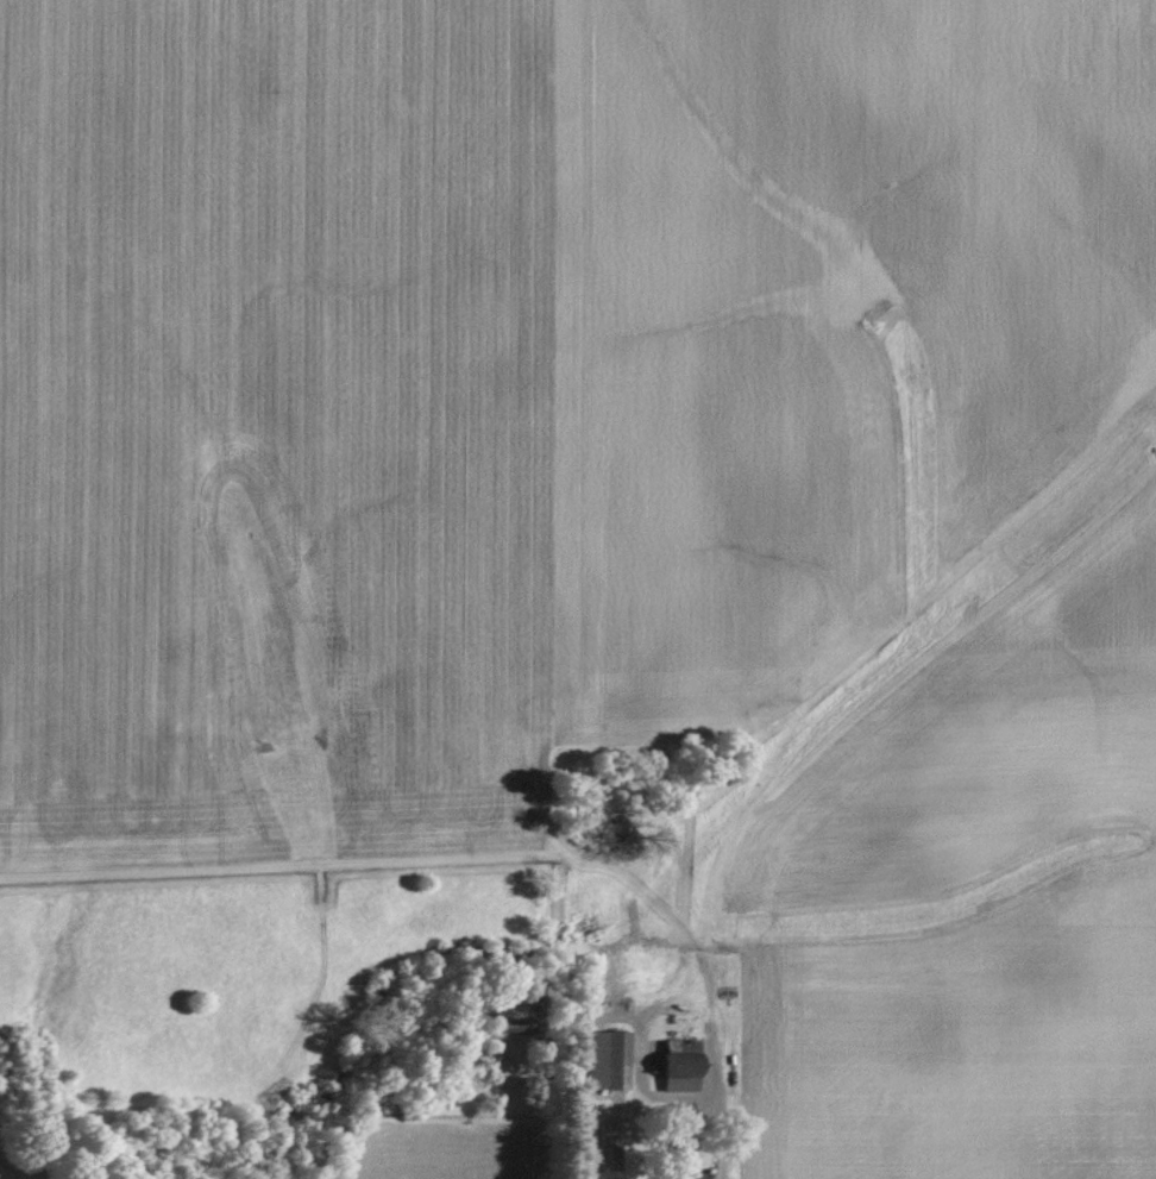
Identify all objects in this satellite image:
building: (607, 1060)
building: (677, 1068)
road: (711, 1142)

